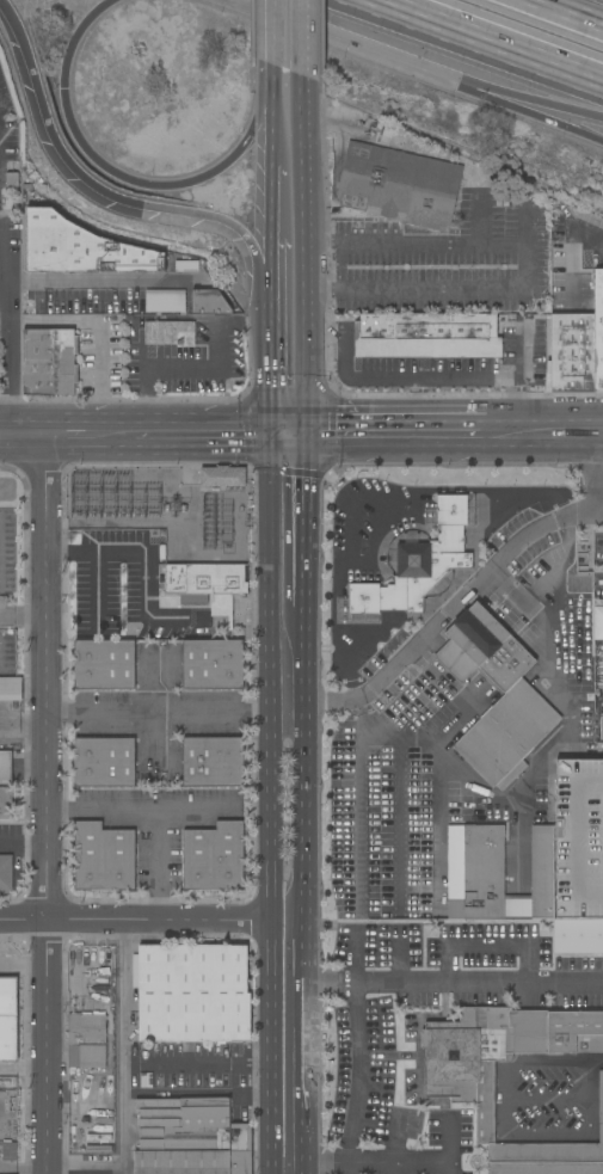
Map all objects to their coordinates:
road: (566, 13)
road: (276, 33)
road: (303, 37)
road: (497, 38)
road: (362, 42)
road: (276, 84)
traffic signals: (62, 90)
road: (540, 100)
road: (528, 107)
road: (261, 119)
road: (277, 134)
road: (591, 136)
road: (426, 148)
road: (91, 154)
road: (76, 171)
building: (399, 185)
road: (278, 204)
parking lot: (337, 222)
road: (590, 239)
road: (417, 245)
road: (308, 246)
building: (80, 248)
road: (263, 253)
road: (278, 253)
building: (186, 266)
road: (84, 283)
road: (462, 294)
building: (165, 300)
building: (209, 302)
road: (98, 327)
building: (422, 328)
building: (598, 328)
building: (170, 333)
road: (7, 338)
road: (278, 344)
building: (549, 346)
building: (50, 361)
road: (153, 367)
road: (441, 376)
road: (66, 419)
road: (411, 419)
road: (559, 419)
road: (21, 420)
road: (181, 420)
traffic signals: (277, 420)
road: (291, 420)
traffic signals: (306, 420)
road: (283, 436)
road: (297, 436)
road: (445, 450)
road: (213, 453)
traffic signals: (290, 453)
road: (91, 454)
road: (23, 455)
building: (222, 477)
road: (593, 482)
road: (527, 506)
power substation: (167, 509)
road: (290, 530)
road: (559, 565)
road: (143, 566)
building: (419, 566)
road: (346, 579)
building: (209, 585)
road: (507, 585)
road: (98, 590)
road: (445, 615)
road: (21, 616)
building: (599, 623)
building: (582, 633)
building: (104, 664)
building: (213, 664)
building: (11, 689)
building: (516, 689)
road: (149, 712)
road: (166, 715)
building: (441, 717)
building: (601, 727)
road: (419, 760)
building: (105, 762)
building: (213, 762)
road: (288, 762)
road: (350, 772)
building: (7, 788)
road: (43, 797)
road: (439, 812)
building: (579, 840)
building: (104, 858)
building: (214, 858)
building: (6, 873)
building: (496, 874)
road: (143, 918)
building: (578, 938)
road: (486, 947)
road: (288, 951)
road: (396, 954)
road: (21, 965)
road: (444, 981)
road: (128, 991)
building: (193, 992)
building: (8, 1020)
building: (86, 1040)
road: (357, 1051)
road: (207, 1064)
road: (21, 1070)
road: (288, 1078)
building: (460, 1086)
building: (98, 1115)
road: (124, 1119)
building: (191, 1138)
road: (449, 1147)
building: (8, 1151)
road: (84, 1163)
road: (371, 1163)
road: (21, 1168)
road: (392, 1168)
building: (546, 1168)

